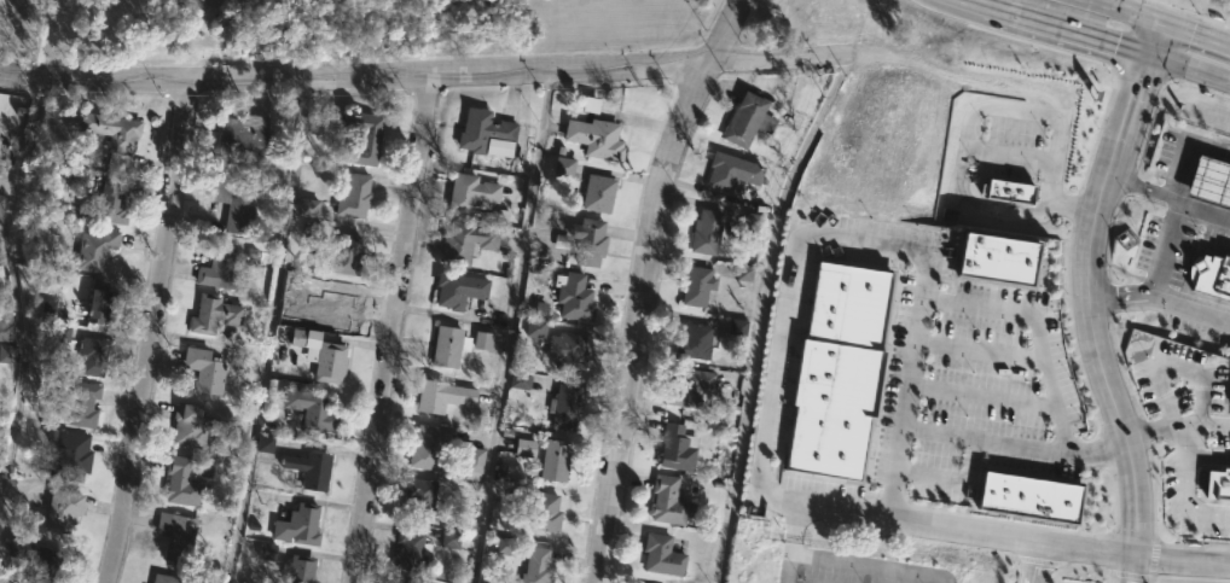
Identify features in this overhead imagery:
road: (1133, 8)
traffic signals: (1165, 19)
road: (1058, 25)
road: (1197, 29)
road: (725, 30)
road: (1156, 36)
traffic signals: (1149, 53)
road: (789, 56)
road: (1189, 65)
road: (355, 77)
road: (955, 81)
building: (748, 121)
building: (110, 132)
building: (487, 134)
building: (361, 139)
building: (594, 139)
building: (240, 141)
road: (965, 144)
road: (1188, 151)
road: (1009, 158)
building: (563, 168)
building: (731, 173)
road: (934, 173)
gas station: (1208, 179)
road: (855, 183)
road: (1141, 188)
building: (1005, 192)
building: (469, 193)
building: (597, 194)
building: (352, 198)
building: (111, 200)
building: (1, 203)
building: (233, 203)
building: (307, 208)
road: (1202, 209)
building: (706, 231)
road: (866, 235)
building: (582, 241)
building: (463, 244)
building: (95, 249)
road: (1158, 250)
building: (344, 256)
building: (994, 256)
building: (217, 269)
road: (5, 273)
gas station: (1209, 274)
building: (697, 286)
building: (457, 291)
building: (574, 296)
building: (99, 302)
road: (1090, 303)
road: (1160, 304)
building: (333, 313)
building: (214, 314)
road: (627, 315)
road: (509, 326)
building: (534, 328)
road: (390, 330)
road: (268, 331)
road: (1034, 331)
building: (5, 332)
road: (152, 332)
building: (695, 343)
building: (454, 344)
road: (977, 350)
building: (564, 352)
building: (7, 354)
building: (93, 355)
building: (327, 360)
building: (835, 368)
building: (204, 371)
building: (520, 380)
building: (690, 389)
road: (980, 395)
building: (440, 396)
building: (81, 404)
building: (1229, 406)
building: (564, 407)
building: (312, 409)
building: (185, 424)
road: (1177, 424)
road: (1184, 441)
building: (263, 444)
road: (1014, 445)
building: (524, 448)
building: (678, 448)
building: (424, 449)
building: (70, 456)
road: (1208, 456)
building: (556, 460)
building: (472, 464)
building: (308, 471)
road: (947, 479)
building: (182, 480)
building: (1217, 482)
building: (1028, 494)
building: (417, 500)
building: (667, 502)
road: (1183, 505)
building: (63, 511)
building: (539, 511)
building: (296, 525)
road: (946, 527)
building: (175, 537)
building: (449, 540)
road: (787, 542)
building: (504, 547)
building: (411, 550)
building: (660, 556)
road: (1183, 560)
building: (37, 561)
road: (1029, 562)
road: (866, 564)
building: (535, 566)
building: (298, 569)
road: (1133, 569)
building: (166, 578)
building: (393, 582)

